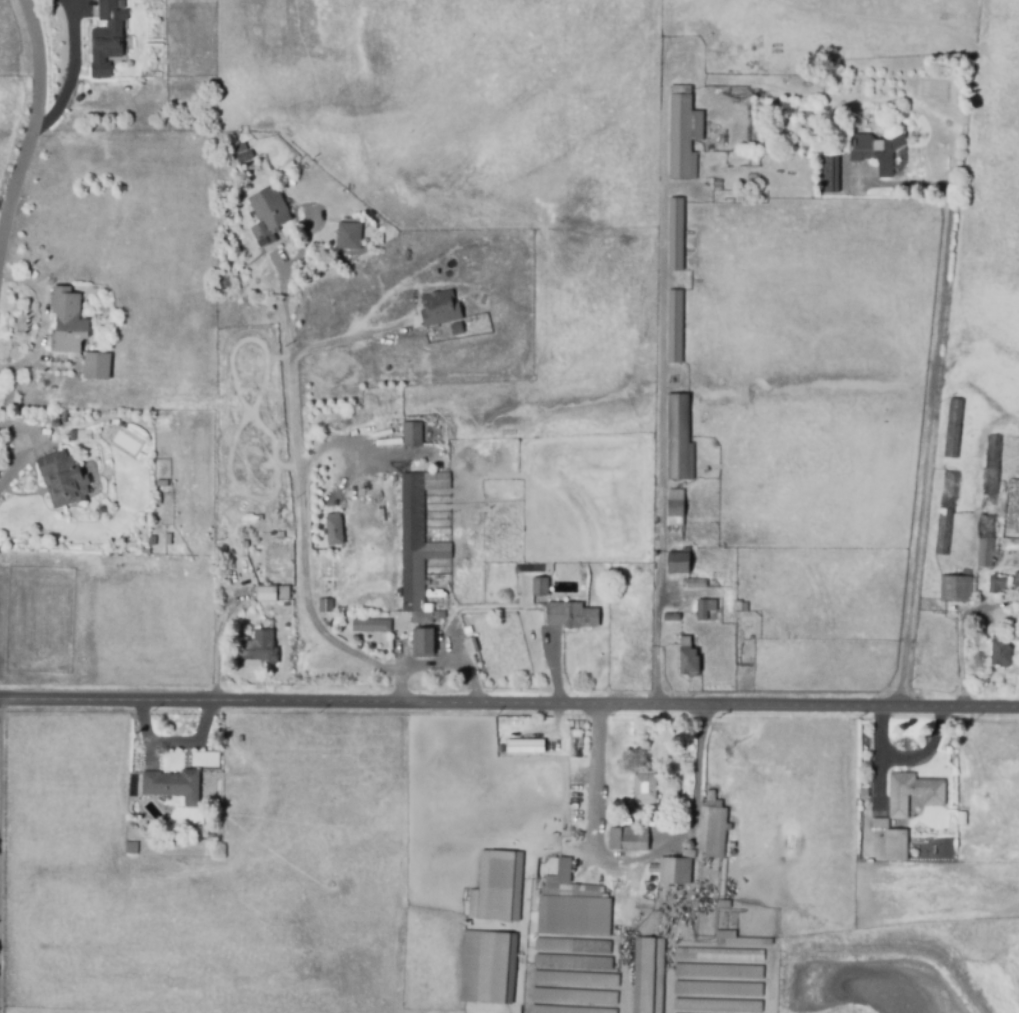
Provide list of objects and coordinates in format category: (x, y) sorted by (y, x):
building: (112, 14)
building: (104, 56)
road: (70, 72)
road: (33, 119)
building: (682, 137)
building: (878, 151)
building: (243, 157)
building: (828, 175)
road: (3, 204)
building: (267, 214)
building: (674, 234)
building: (349, 236)
building: (441, 309)
building: (66, 322)
building: (674, 327)
building: (457, 329)
road: (351, 337)
building: (96, 366)
road: (663, 378)
road: (929, 402)
building: (953, 429)
building: (413, 435)
building: (678, 440)
road: (340, 445)
building: (992, 466)
building: (61, 480)
building: (160, 484)
building: (157, 499)
building: (675, 508)
road: (299, 509)
building: (945, 513)
building: (334, 531)
building: (168, 540)
building: (985, 541)
building: (152, 542)
building: (416, 544)
building: (144, 552)
building: (677, 564)
building: (1016, 579)
building: (695, 584)
building: (998, 584)
building: (538, 587)
building: (955, 589)
building: (274, 594)
building: (326, 606)
building: (740, 608)
building: (705, 611)
building: (569, 615)
building: (671, 619)
building: (371, 626)
building: (423, 643)
road: (959, 645)
building: (472, 646)
building: (259, 647)
building: (1000, 655)
building: (687, 658)
road: (450, 663)
road: (509, 704)
building: (239, 740)
building: (523, 745)
road: (928, 753)
road: (882, 761)
building: (172, 786)
building: (643, 790)
building: (913, 795)
building: (961, 819)
building: (712, 830)
building: (628, 841)
building: (895, 846)
building: (130, 848)
road: (631, 863)
building: (673, 871)
building: (569, 882)
building: (496, 888)
building: (723, 905)
building: (572, 917)
building: (738, 940)
building: (571, 947)
building: (719, 957)
building: (572, 963)
building: (486, 969)
building: (717, 972)
building: (647, 976)
building: (574, 980)
building: (717, 990)
building: (574, 997)
building: (715, 1007)
building: (565, 1010)

